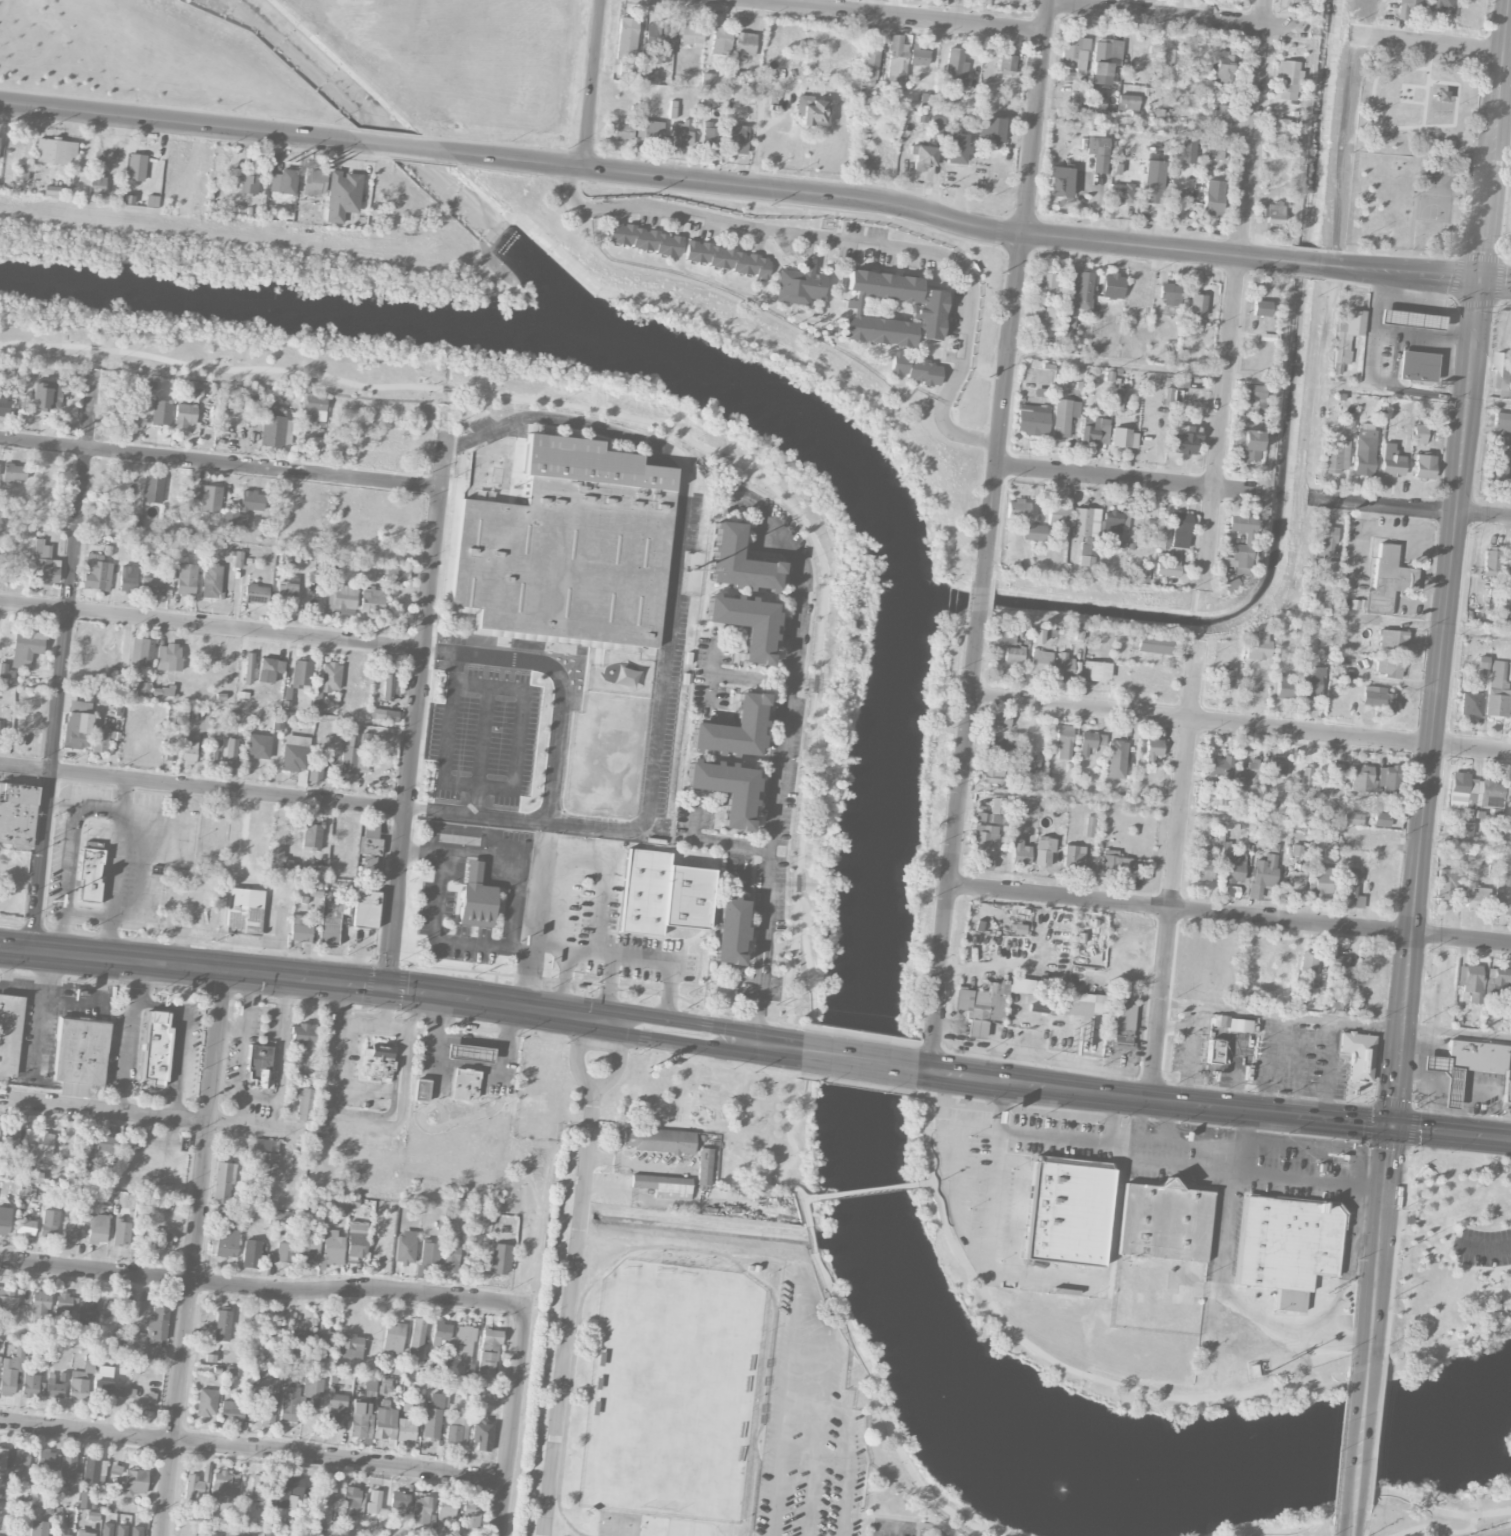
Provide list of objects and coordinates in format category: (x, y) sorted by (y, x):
building: (1438, 4)
building: (1407, 7)
road: (893, 15)
road: (1177, 18)
building: (690, 34)
building: (659, 36)
building: (626, 38)
building: (721, 40)
building: (745, 43)
road: (1432, 45)
building: (1075, 52)
building: (918, 56)
building: (1171, 56)
park: (315, 59)
building: (1104, 59)
building: (896, 62)
building: (871, 63)
building: (1007, 64)
building: (1223, 64)
building: (954, 67)
building: (649, 75)
building: (1288, 79)
building: (708, 80)
road: (593, 85)
building: (1442, 95)
building: (1079, 99)
building: (1097, 102)
building: (1127, 102)
building: (673, 109)
building: (812, 111)
building: (1221, 115)
building: (937, 123)
road: (180, 125)
building: (991, 129)
building: (649, 130)
building: (623, 132)
building: (680, 134)
building: (710, 135)
building: (737, 138)
road: (1494, 143)
building: (1213, 147)
building: (956, 148)
road: (409, 150)
building: (1186, 150)
building: (55, 151)
road: (1342, 151)
building: (1098, 153)
building: (924, 154)
park: (1420, 157)
building: (136, 167)
building: (20, 173)
building: (283, 181)
building: (1059, 181)
building: (1152, 181)
building: (314, 182)
building: (249, 184)
building: (52, 190)
building: (1120, 193)
building: (342, 195)
building: (1212, 197)
building: (128, 199)
road: (872, 200)
building: (152, 201)
building: (1274, 212)
building: (644, 239)
road: (861, 239)
building: (727, 259)
road: (1307, 262)
road: (1330, 264)
road: (1405, 273)
building: (1045, 282)
traffic signals: (1478, 282)
road: (1494, 283)
building: (799, 284)
building: (1112, 286)
road: (1012, 293)
building: (1077, 294)
building: (1170, 294)
road: (1235, 294)
building: (1197, 304)
road: (1403, 304)
building: (1261, 307)
building: (891, 309)
road: (1442, 309)
building: (1048, 313)
building: (1409, 319)
building: (1347, 333)
road: (1389, 335)
road: (1117, 364)
building: (1416, 364)
building: (915, 368)
building: (1502, 374)
building: (1181, 382)
building: (1168, 393)
road: (1420, 393)
building: (46, 395)
building: (1256, 395)
building: (8, 407)
building: (314, 407)
building: (161, 412)
building: (185, 415)
road: (434, 416)
building: (1064, 416)
building: (1032, 419)
building: (1501, 424)
building: (273, 426)
building: (1094, 430)
building: (287, 431)
building: (1420, 433)
building: (1124, 437)
building: (1184, 439)
road: (455, 443)
building: (1246, 445)
building: (1365, 452)
building: (1336, 456)
building: (1392, 460)
building: (1499, 461)
road: (221, 463)
road: (747, 466)
building: (1424, 466)
building: (14, 472)
road: (1126, 478)
building: (1510, 485)
building: (153, 489)
building: (208, 497)
building: (252, 500)
road: (1410, 507)
building: (1017, 509)
building: (1059, 514)
building: (234, 516)
building: (1085, 521)
building: (1112, 523)
road: (1388, 529)
building: (1181, 530)
building: (1035, 532)
building: (1326, 537)
building: (1163, 538)
building: (1240, 544)
building: (569, 547)
building: (1088, 551)
building: (1509, 555)
building: (238, 559)
building: (738, 560)
building: (1491, 562)
building: (45, 564)
road: (1421, 566)
building: (1167, 569)
building: (96, 572)
building: (397, 572)
building: (184, 573)
building: (1141, 573)
building: (128, 578)
building: (211, 580)
building: (1385, 580)
building: (1229, 584)
building: (152, 585)
building: (256, 593)
building: (286, 594)
building: (341, 598)
building: (372, 600)
road: (980, 602)
road: (671, 611)
building: (1503, 615)
building: (746, 621)
road: (1397, 621)
road: (212, 626)
building: (1007, 636)
building: (1392, 638)
building: (1154, 643)
building: (26, 647)
building: (1259, 647)
road: (431, 650)
building: (142, 651)
building: (1015, 654)
building: (168, 657)
road: (64, 661)
building: (1041, 661)
building: (1483, 661)
building: (248, 664)
building: (1064, 664)
building: (1388, 667)
building: (269, 669)
building: (6, 671)
building: (1098, 671)
road: (711, 672)
building: (301, 674)
building: (1497, 674)
building: (330, 677)
road: (751, 677)
building: (1225, 677)
building: (1309, 681)
building: (388, 683)
building: (1285, 687)
building: (142, 688)
road: (561, 688)
building: (162, 690)
building: (1378, 698)
building: (316, 699)
road: (1436, 703)
building: (1471, 703)
building: (1497, 705)
road: (418, 710)
building: (190, 713)
road: (788, 713)
building: (383, 714)
building: (998, 718)
building: (277, 723)
building: (77, 724)
road: (1240, 724)
building: (733, 728)
building: (174, 730)
building: (100, 740)
building: (1064, 742)
building: (1090, 742)
building: (1000, 743)
building: (215, 744)
building: (258, 745)
road: (450, 747)
building: (1152, 749)
building: (188, 751)
building: (171, 752)
building: (231, 752)
building: (1116, 752)
building: (295, 753)
building: (353, 755)
building: (1029, 763)
building: (316, 766)
building: (1217, 766)
building: (1277, 767)
building: (992, 774)
building: (1335, 774)
building: (1250, 775)
building: (1362, 778)
building: (1388, 779)
building: (1308, 780)
road: (204, 787)
building: (1508, 787)
building: (726, 788)
building: (1474, 792)
building: (1000, 805)
road: (414, 810)
building: (17, 812)
road: (1236, 812)
road: (447, 813)
building: (987, 817)
building: (1352, 818)
building: (1381, 819)
building: (1463, 825)
building: (1089, 826)
building: (984, 835)
building: (312, 836)
road: (544, 838)
road: (722, 841)
road: (954, 843)
building: (369, 845)
building: (1044, 850)
building: (1019, 853)
road: (501, 854)
building: (1073, 858)
building: (279, 860)
building: (982, 862)
building: (1114, 862)
building: (1203, 865)
road: (1176, 869)
building: (1232, 869)
building: (90, 870)
building: (316, 871)
building: (1262, 875)
building: (1295, 880)
building: (1321, 880)
road: (262, 881)
building: (1349, 882)
building: (1445, 888)
building: (663, 893)
building: (1503, 895)
building: (476, 896)
building: (1477, 898)
building: (1358, 901)
building: (366, 909)
building: (245, 910)
road: (1230, 912)
building: (331, 921)
road: (532, 926)
building: (299, 929)
building: (730, 930)
road: (519, 948)
building: (1307, 962)
building: (1341, 966)
road: (315, 978)
building: (1470, 981)
building: (1495, 981)
road: (136, 982)
traffic signals: (386, 986)
road: (608, 986)
road: (758, 1000)
building: (1337, 1001)
building: (989, 1003)
building: (1041, 1003)
building: (1083, 1004)
building: (1120, 1016)
road: (681, 1020)
road: (1337, 1021)
building: (9, 1032)
building: (303, 1035)
building: (1122, 1036)
road: (183, 1037)
road: (679, 1040)
road: (768, 1044)
road: (1420, 1044)
building: (156, 1045)
building: (1249, 1047)
building: (1214, 1051)
building: (468, 1052)
building: (1358, 1053)
building: (80, 1054)
road: (127, 1056)
road: (861, 1060)
building: (377, 1062)
road: (1433, 1063)
building: (1463, 1063)
building: (260, 1067)
road: (614, 1067)
road: (1430, 1076)
road: (1420, 1079)
building: (1508, 1080)
building: (465, 1083)
road: (1450, 1087)
building: (421, 1089)
road: (1155, 1098)
building: (304, 1103)
road: (1465, 1107)
road: (1433, 1108)
road: (150, 1113)
road: (1113, 1115)
road: (1168, 1119)
traffic signals: (1392, 1124)
road: (1241, 1127)
road: (1451, 1130)
road: (1096, 1135)
building: (81, 1140)
building: (658, 1140)
building: (106, 1142)
building: (267, 1155)
building: (37, 1157)
road: (634, 1166)
building: (704, 1166)
road: (954, 1174)
road: (1305, 1180)
road: (924, 1181)
building: (223, 1183)
building: (664, 1186)
road: (866, 1188)
road: (809, 1195)
building: (341, 1204)
building: (1067, 1210)
building: (226, 1215)
building: (281, 1218)
building: (1164, 1221)
building: (48, 1222)
building: (4, 1226)
building: (25, 1227)
building: (97, 1228)
building: (71, 1232)
building: (122, 1232)
road: (811, 1238)
building: (160, 1239)
building: (357, 1240)
building: (226, 1244)
building: (1288, 1245)
parking lot: (1485, 1245)
road: (1380, 1246)
road: (1482, 1246)
building: (332, 1247)
building: (405, 1247)
building: (310, 1250)
road: (196, 1252)
building: (284, 1252)
building: (251, 1253)
road: (1442, 1255)
building: (427, 1257)
building: (452, 1257)
building: (500, 1259)
road: (572, 1275)
road: (1047, 1275)
road: (800, 1279)
road: (263, 1288)
road: (1234, 1293)
road: (1492, 1295)
building: (7, 1298)
building: (40, 1303)
building: (66, 1304)
building: (110, 1307)
building: (85, 1314)
building: (158, 1321)
building: (221, 1324)
building: (273, 1326)
building: (441, 1332)
building: (393, 1337)
building: (325, 1339)
building: (417, 1339)
building: (297, 1340)
building: (464, 1341)
building: (350, 1345)
building: (139, 1350)
building: (489, 1350)
park: (1132, 1359)
building: (8, 1375)
building: (31, 1377)
building: (103, 1380)
road: (1120, 1382)
building: (80, 1383)
building: (370, 1383)
building: (386, 1385)
building: (312, 1387)
building: (53, 1389)
park: (672, 1390)
building: (123, 1392)
building: (436, 1400)
building: (289, 1401)
building: (206, 1402)
road: (803, 1406)
building: (335, 1408)
building: (231, 1411)
building: (264, 1415)
building: (361, 1420)
road: (513, 1420)
building: (385, 1423)
building: (431, 1423)
building: (458, 1429)
building: (406, 1430)
road: (1360, 1435)
road: (253, 1451)
building: (3, 1456)
building: (48, 1459)
road: (849, 1460)
building: (20, 1461)
building: (91, 1469)
building: (68, 1471)
building: (134, 1482)
building: (225, 1485)
building: (195, 1488)
building: (257, 1488)
building: (286, 1490)
building: (327, 1490)
building: (3, 1493)
road: (1370, 1494)
building: (400, 1500)
building: (374, 1501)
building: (353, 1502)
building: (446, 1508)
building: (421, 1510)
building: (470, 1513)
building: (197, 1515)
road: (1352, 1519)
road: (912, 1524)
road: (1436, 1526)
building: (38, 1528)
building: (106, 1529)
building: (121, 1530)
building: (135, 1530)
building: (229, 1531)
building: (84, 1533)
building: (59, 1534)
road: (1503, 1534)
road: (1499, 1535)

